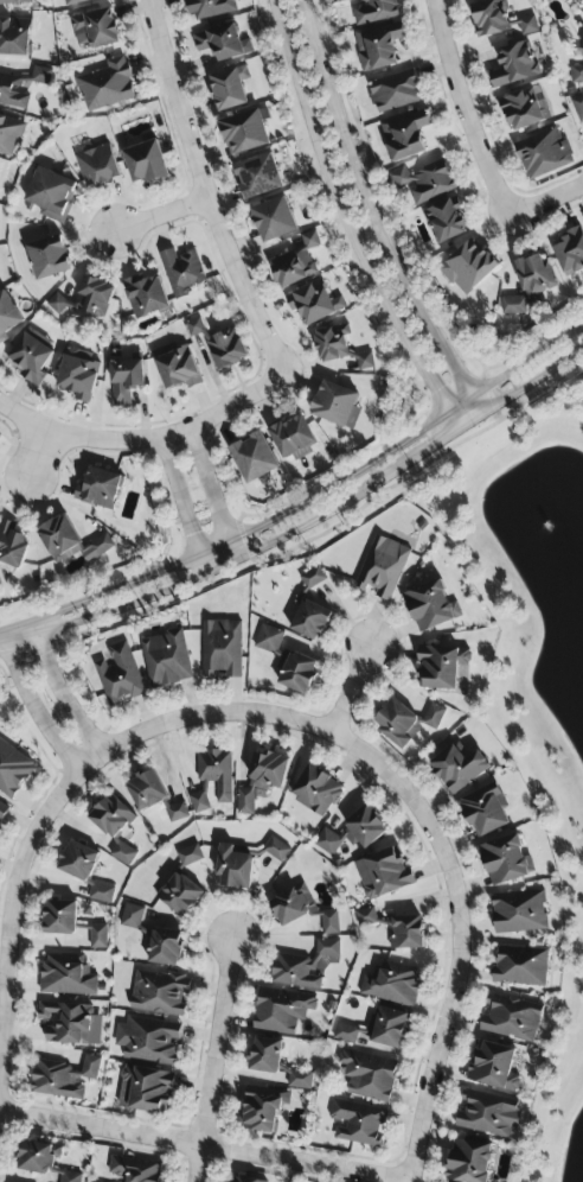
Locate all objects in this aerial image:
building: (77, 1)
building: (15, 2)
building: (210, 8)
building: (373, 11)
building: (489, 19)
building: (527, 26)
building: (95, 30)
building: (14, 37)
building: (223, 44)
building: (378, 47)
building: (514, 65)
building: (577, 75)
building: (41, 76)
building: (105, 87)
building: (230, 88)
building: (14, 91)
building: (395, 93)
building: (578, 108)
road: (468, 109)
building: (523, 110)
building: (244, 133)
building: (9, 134)
building: (405, 136)
building: (544, 154)
building: (146, 163)
building: (98, 167)
building: (258, 177)
building: (425, 184)
road: (201, 192)
building: (51, 195)
road: (549, 202)
road: (347, 211)
road: (161, 214)
road: (373, 214)
building: (274, 220)
building: (447, 222)
building: (569, 252)
building: (49, 259)
building: (296, 263)
building: (468, 268)
building: (181, 272)
building: (534, 277)
building: (94, 297)
building: (145, 297)
building: (314, 304)
building: (57, 305)
building: (514, 306)
building: (7, 317)
building: (194, 328)
building: (332, 343)
building: (226, 349)
building: (30, 358)
building: (365, 362)
road: (514, 366)
building: (177, 367)
building: (78, 377)
building: (124, 381)
road: (521, 390)
building: (337, 406)
road: (20, 415)
road: (454, 420)
road: (166, 434)
building: (293, 438)
road: (33, 453)
building: (254, 458)
building: (98, 489)
road: (214, 489)
road: (184, 504)
road: (248, 533)
building: (71, 542)
building: (12, 546)
road: (256, 549)
building: (382, 568)
building: (313, 578)
fountain: (568, 579)
building: (430, 608)
building: (312, 619)
road: (17, 635)
building: (268, 640)
building: (222, 649)
building: (166, 660)
building: (441, 667)
building: (296, 672)
building: (118, 675)
road: (351, 690)
road: (62, 695)
road: (36, 708)
road: (201, 714)
building: (405, 723)
building: (13, 769)
building: (459, 769)
building: (212, 779)
building: (262, 781)
building: (147, 792)
building: (316, 792)
building: (2, 809)
building: (177, 812)
building: (485, 812)
building: (111, 818)
building: (353, 833)
building: (276, 850)
building: (123, 854)
building: (190, 856)
building: (506, 860)
building: (78, 862)
building: (235, 869)
building: (383, 875)
road: (14, 890)
building: (101, 894)
building: (180, 895)
building: (291, 907)
building: (519, 913)
building: (132, 917)
building: (366, 917)
building: (60, 919)
road: (460, 921)
building: (329, 923)
building: (406, 933)
building: (98, 938)
building: (166, 948)
building: (306, 966)
building: (520, 966)
building: (66, 977)
building: (392, 984)
building: (160, 992)
building: (281, 1011)
building: (511, 1019)
building: (71, 1024)
building: (387, 1028)
building: (345, 1034)
building: (149, 1041)
building: (265, 1055)
road: (216, 1061)
building: (493, 1067)
building: (367, 1075)
building: (64, 1079)
building: (300, 1080)
building: (145, 1089)
building: (262, 1108)
building: (488, 1116)
building: (358, 1123)
road: (197, 1146)
building: (38, 1158)
building: (469, 1161)
building: (135, 1169)
building: (71, 1177)
building: (243, 1180)

